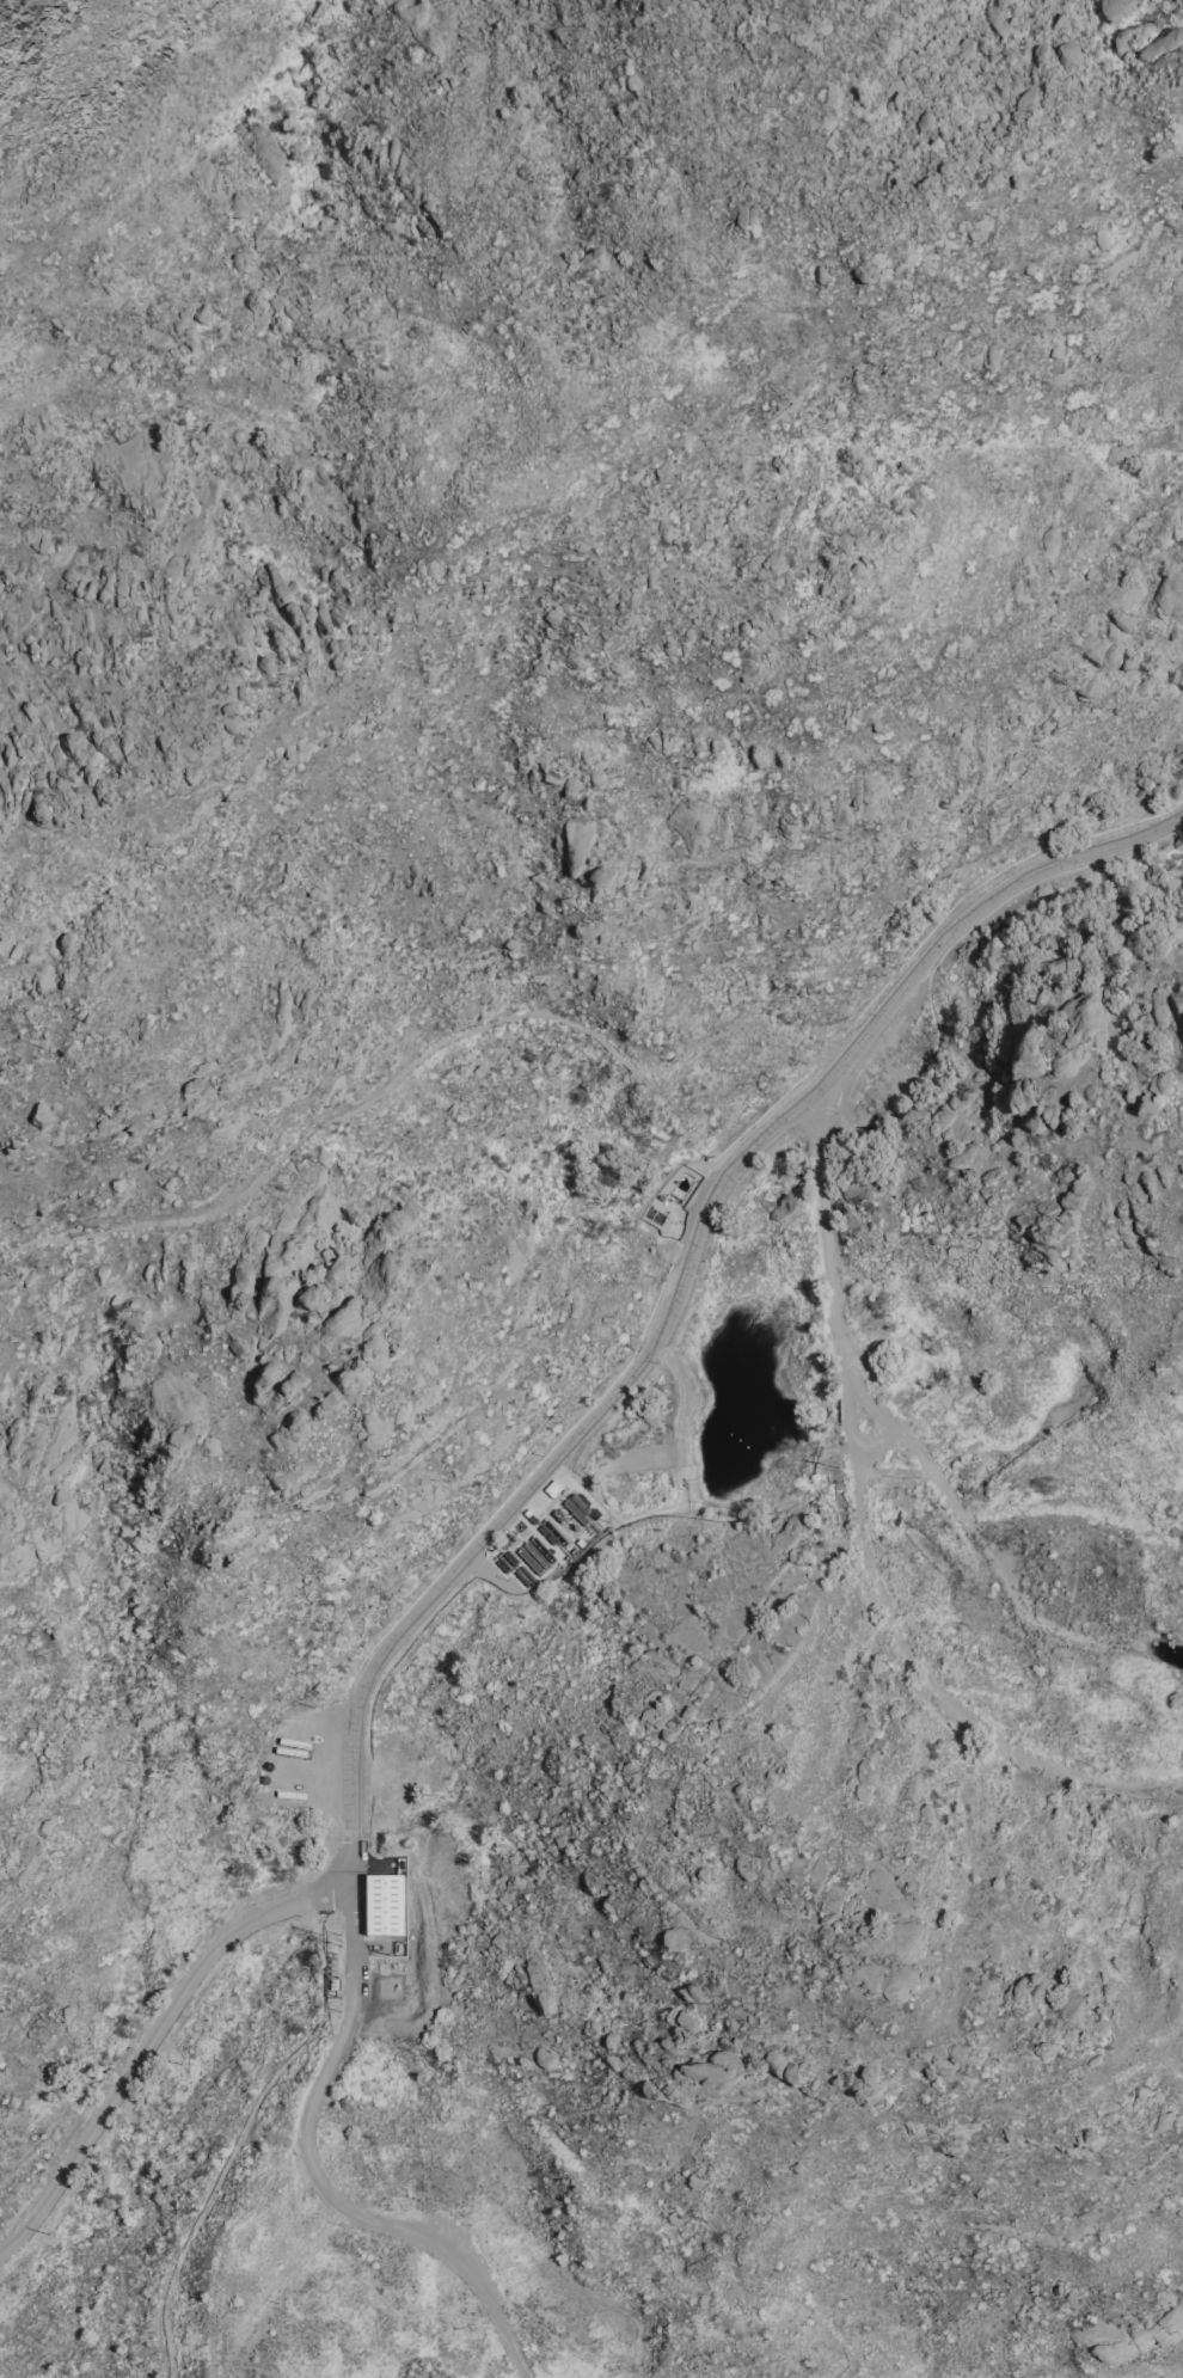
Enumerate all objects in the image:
building: (1112, 7)
building: (994, 22)
building: (1066, 55)
building: (923, 122)
building: (237, 261)
building: (1177, 282)
building: (298, 379)
building: (1171, 596)
building: (320, 621)
building: (569, 789)
building: (596, 881)
road: (969, 907)
building: (1056, 966)
road: (735, 1030)
building: (39, 1116)
road: (326, 1118)
building: (784, 1207)
building: (399, 1216)
building: (406, 1289)
building: (309, 1301)
road: (860, 1532)
building: (791, 1620)
road: (355, 1705)
building: (864, 1772)
building: (862, 1794)
building: (382, 1906)
building: (1072, 2005)
road: (149, 2036)
building: (866, 2076)

